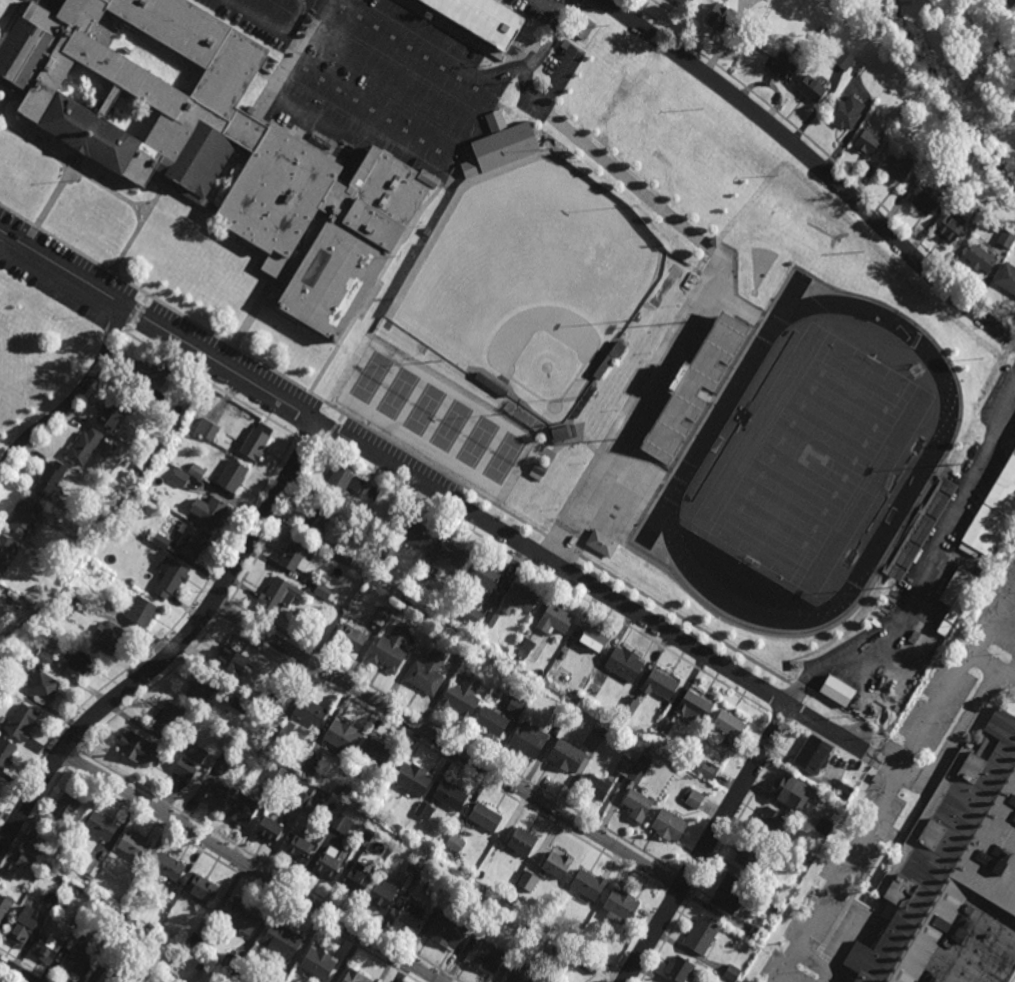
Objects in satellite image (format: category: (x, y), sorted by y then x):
road: (52, 0)
building: (685, 2)
building: (1009, 3)
building: (952, 4)
parking lot: (45, 5)
road: (551, 7)
building: (720, 18)
parking lot: (262, 19)
building: (480, 20)
road: (14, 21)
road: (11, 23)
road: (272, 25)
building: (583, 27)
parking lot: (427, 31)
building: (955, 35)
building: (991, 39)
road: (294, 50)
building: (966, 52)
building: (844, 58)
building: (781, 63)
road: (474, 70)
park: (388, 79)
parking lot: (560, 80)
building: (814, 85)
road: (5, 91)
road: (15, 97)
road: (4, 102)
road: (545, 104)
building: (847, 110)
building: (873, 113)
road: (5, 119)
parking lot: (338, 122)
road: (4, 130)
building: (939, 132)
road: (367, 136)
building: (868, 141)
building: (501, 144)
building: (221, 151)
road: (827, 156)
road: (452, 162)
road: (815, 162)
road: (71, 167)
building: (895, 168)
building: (429, 177)
building: (954, 178)
road: (626, 179)
road: (222, 184)
road: (57, 188)
road: (177, 195)
building: (924, 201)
road: (144, 204)
building: (982, 208)
road: (137, 216)
building: (950, 228)
road: (138, 230)
building: (427, 231)
road: (404, 235)
building: (1006, 238)
road: (238, 240)
road: (256, 251)
building: (983, 257)
road: (391, 261)
road: (256, 270)
road: (116, 275)
building: (1007, 277)
park: (530, 280)
park: (753, 292)
parking lot: (59, 296)
road: (138, 315)
road: (1011, 335)
road: (1013, 345)
parking lot: (226, 354)
building: (611, 358)
track: (769, 370)
park: (916, 370)
road: (324, 371)
building: (147, 375)
park: (371, 377)
building: (491, 384)
road: (211, 386)
building: (696, 389)
building: (591, 391)
park: (398, 393)
road: (75, 397)
road: (664, 401)
park: (425, 409)
building: (578, 410)
building: (115, 413)
building: (524, 416)
road: (306, 418)
road: (69, 420)
park: (451, 425)
road: (334, 427)
building: (207, 428)
building: (561, 432)
stadium: (785, 433)
building: (258, 441)
park: (478, 442)
road: (307, 444)
building: (84, 446)
road: (323, 446)
park: (503, 458)
park: (813, 458)
track: (714, 462)
track: (689, 466)
building: (540, 469)
building: (197, 471)
road: (441, 473)
building: (233, 476)
building: (180, 477)
building: (50, 479)
building: (348, 484)
road: (437, 492)
track: (883, 502)
building: (211, 512)
road: (440, 512)
building: (994, 512)
building: (26, 516)
building: (319, 519)
building: (68, 527)
road: (275, 527)
building: (919, 530)
building: (417, 533)
building: (161, 542)
building: (191, 542)
building: (601, 543)
building: (5, 549)
building: (390, 549)
building: (295, 554)
building: (453, 555)
building: (346, 556)
road: (563, 567)
road: (925, 569)
building: (426, 571)
building: (484, 576)
building: (172, 578)
building: (325, 591)
road: (216, 594)
building: (280, 595)
building: (520, 599)
building: (962, 600)
building: (69, 601)
building: (33, 607)
road: (205, 610)
road: (224, 610)
building: (39, 611)
building: (142, 612)
building: (379, 617)
building: (475, 617)
building: (491, 620)
building: (555, 620)
road: (687, 622)
road: (994, 623)
building: (945, 629)
road: (161, 639)
building: (352, 639)
building: (109, 640)
building: (593, 640)
road: (175, 649)
building: (523, 649)
road: (662, 649)
building: (391, 650)
building: (565, 651)
building: (45, 659)
building: (233, 661)
building: (79, 664)
building: (626, 665)
road: (994, 667)
road: (1013, 672)
building: (427, 673)
building: (3, 682)
building: (660, 686)
building: (45, 688)
road: (153, 688)
building: (202, 691)
building: (839, 693)
building: (463, 696)
building: (242, 702)
building: (586, 702)
building: (631, 704)
building: (516, 706)
building: (696, 706)
building: (311, 708)
building: (169, 715)
building: (492, 719)
building: (22, 721)
road: (782, 721)
building: (664, 723)
building: (284, 726)
building: (603, 726)
building: (730, 726)
building: (344, 734)
road: (453, 737)
building: (528, 737)
road: (68, 742)
building: (136, 744)
road: (448, 746)
building: (382, 750)
building: (6, 751)
building: (197, 751)
building: (652, 751)
building: (814, 752)
building: (567, 753)
road: (441, 755)
road: (946, 757)
building: (223, 759)
road: (72, 760)
road: (53, 762)
building: (312, 762)
building: (625, 763)
building: (185, 766)
building: (640, 767)
building: (709, 769)
building: (276, 774)
building: (413, 775)
building: (877, 776)
building: (596, 783)
building: (341, 786)
building: (789, 789)
building: (844, 790)
building: (450, 794)
building: (218, 795)
building: (693, 796)
building: (304, 797)
building: (638, 802)
building: (67, 804)
building: (313, 804)
road: (886, 804)
building: (244, 807)
building: (424, 810)
building: (485, 814)
building: (773, 819)
road: (32, 822)
building: (344, 822)
building: (101, 824)
building: (669, 824)
building: (824, 824)
building: (270, 827)
building: (368, 835)
building: (522, 839)
building: (455, 841)
building: (136, 843)
building: (37, 844)
road: (708, 845)
building: (783, 845)
building: (301, 846)
road: (718, 851)
building: (750, 855)
building: (25, 859)
building: (329, 862)
building: (412, 863)
building: (557, 863)
building: (91, 864)
building: (169, 864)
road: (270, 866)
road: (249, 867)
building: (422, 867)
building: (480, 873)
road: (241, 876)
building: (358, 877)
building: (458, 877)
road: (687, 878)
building: (957, 878)
building: (528, 879)
building: (589, 882)
building: (769, 884)
building: (73, 886)
building: (204, 886)
building: (138, 889)
building: (500, 889)
building: (77, 890)
building: (385, 891)
building: (731, 892)
building: (172, 894)
building: (525, 897)
road: (676, 897)
building: (50, 898)
building: (4, 905)
building: (621, 905)
building: (84, 906)
building: (776, 909)
building: (57, 912)
building: (411, 913)
building: (244, 914)
building: (78, 916)
building: (126, 922)
building: (23, 924)
building: (528, 925)
building: (447, 928)
building: (702, 933)
building: (757, 933)
building: (196, 939)
building: (282, 939)
road: (847, 942)
building: (560, 946)
building: (47, 947)
building: (144, 952)
building: (79, 954)
building: (484, 955)
road: (806, 955)
building: (320, 961)
building: (581, 961)
building: (232, 962)
building: (593, 963)
building: (200, 966)
building: (680, 968)
road: (16, 971)
building: (733, 972)
building: (102, 973)
building: (524, 973)
building: (197, 975)
building: (123, 976)
building: (356, 976)
building: (227, 978)
building: (274, 978)
building: (0, 981)
building: (188, 981)
building: (553, 981)

